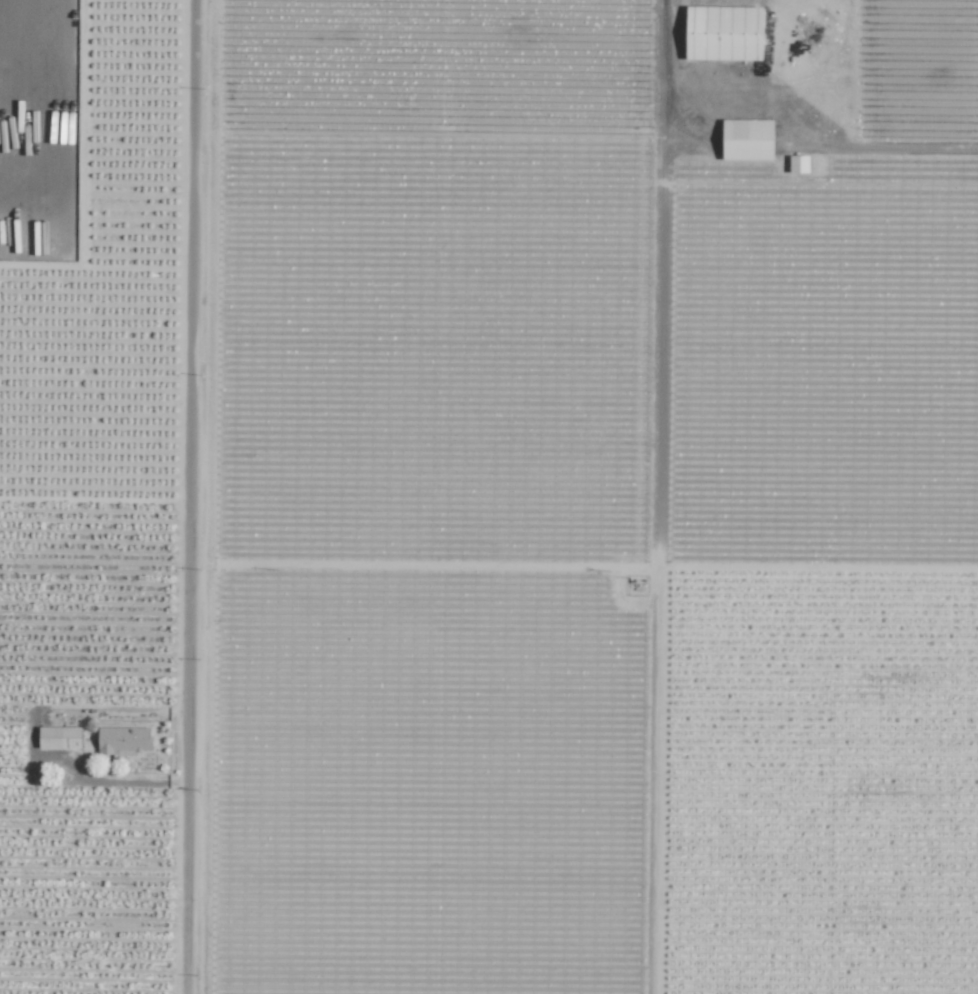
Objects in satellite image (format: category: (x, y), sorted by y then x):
building: (723, 33)
road: (780, 97)
building: (746, 139)
building: (798, 164)
road: (191, 497)
building: (59, 737)
building: (122, 740)

